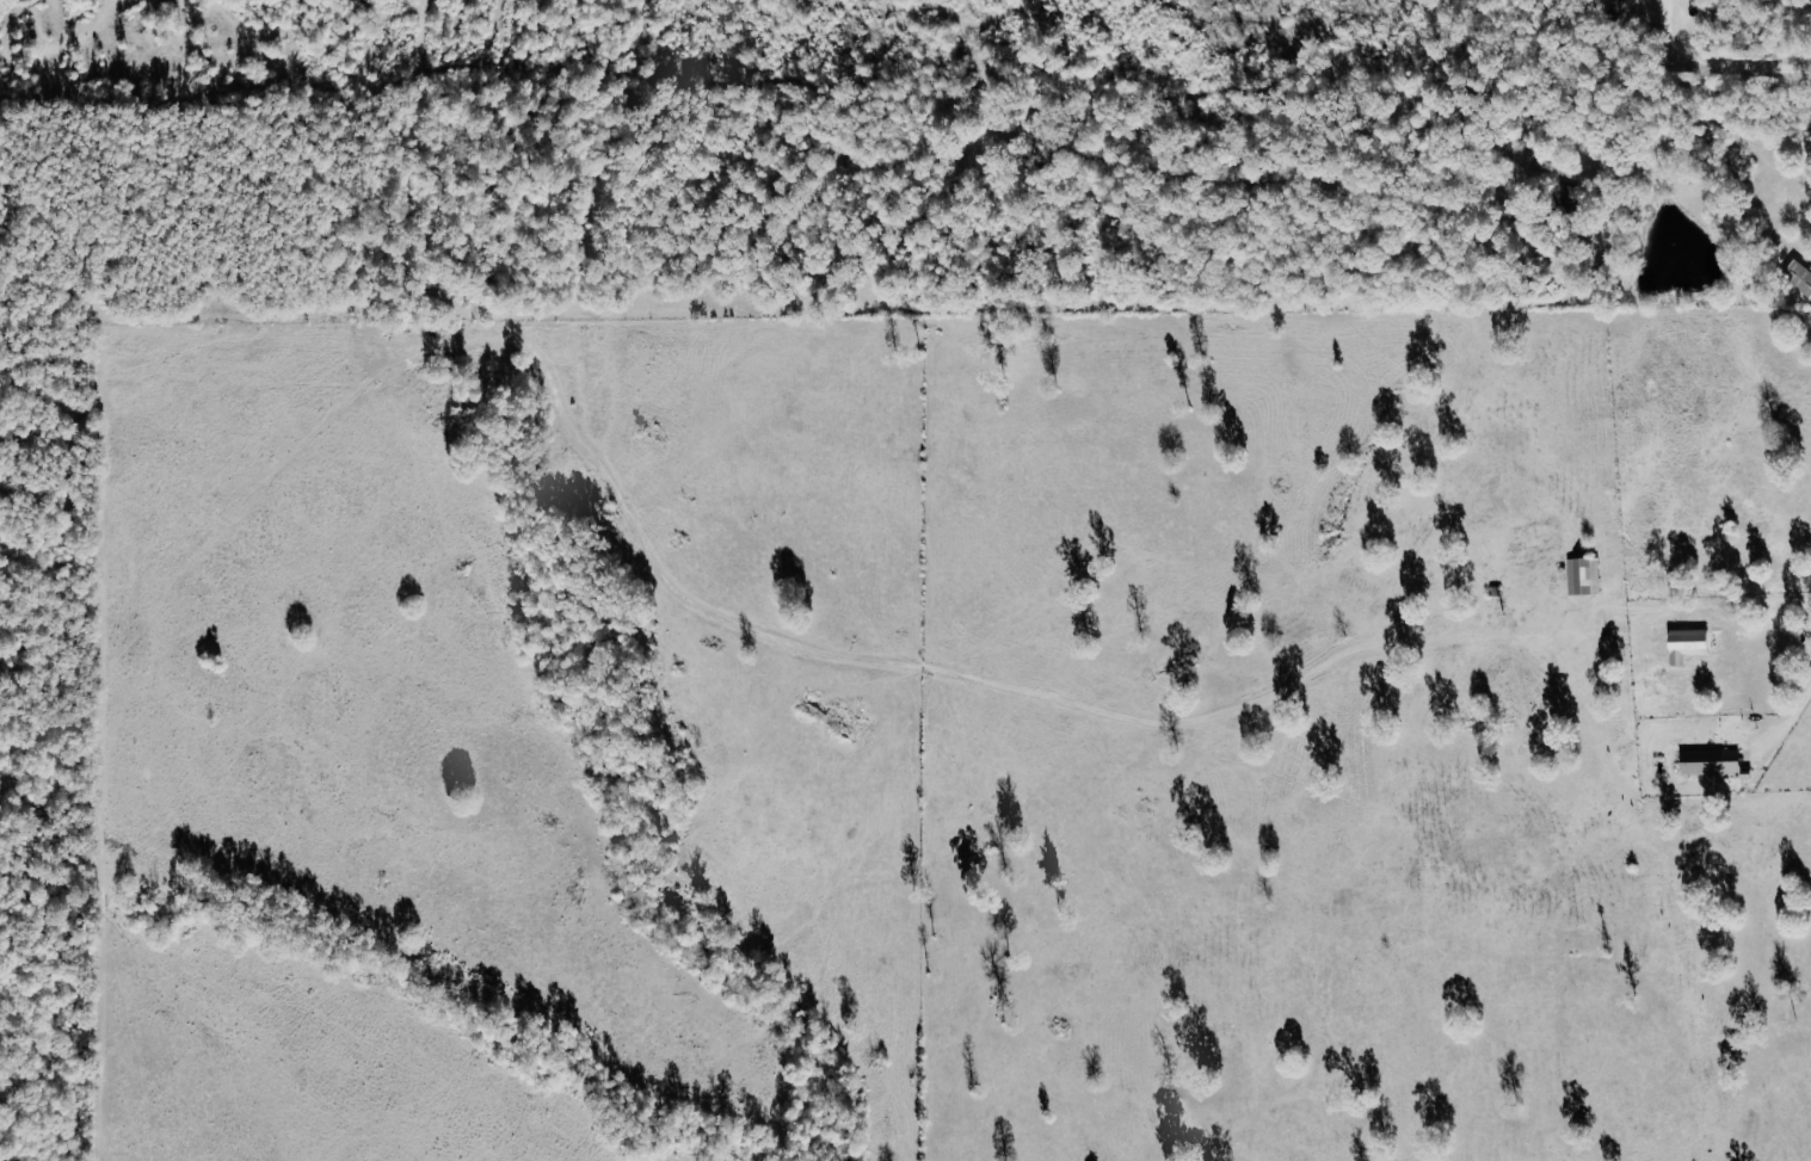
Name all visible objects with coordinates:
building: (1620, 5)
road: (1715, 62)
building: (1799, 276)
building: (1584, 575)
road: (1781, 630)
building: (1687, 646)
road: (1787, 747)
building: (1710, 761)

